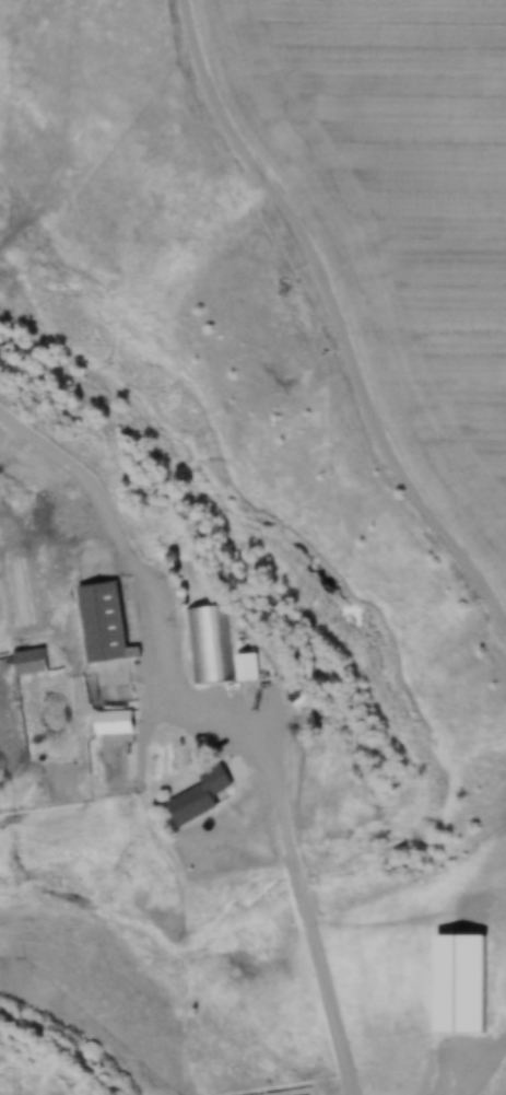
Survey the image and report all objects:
road: (339, 317)
road: (95, 477)
building: (109, 620)
building: (208, 643)
building: (31, 662)
building: (248, 666)
building: (301, 700)
building: (116, 725)
building: (202, 795)
road: (286, 816)
road: (483, 905)
building: (439, 1003)
road: (489, 1079)

